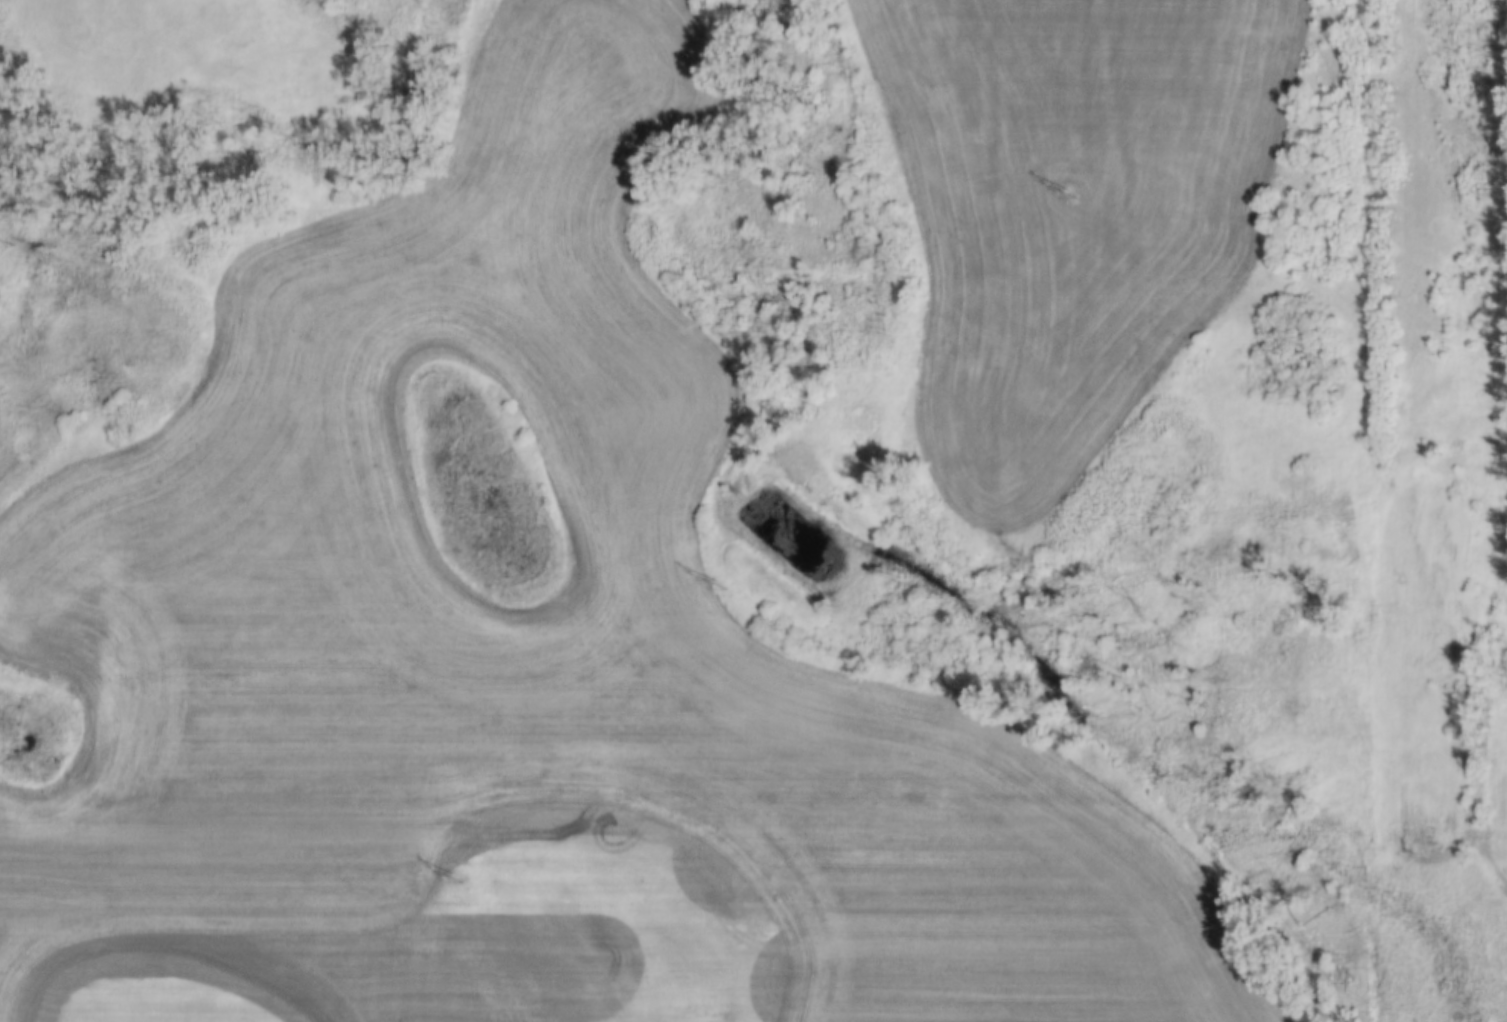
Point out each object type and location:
power tower: (1071, 192)
power tower: (455, 878)

